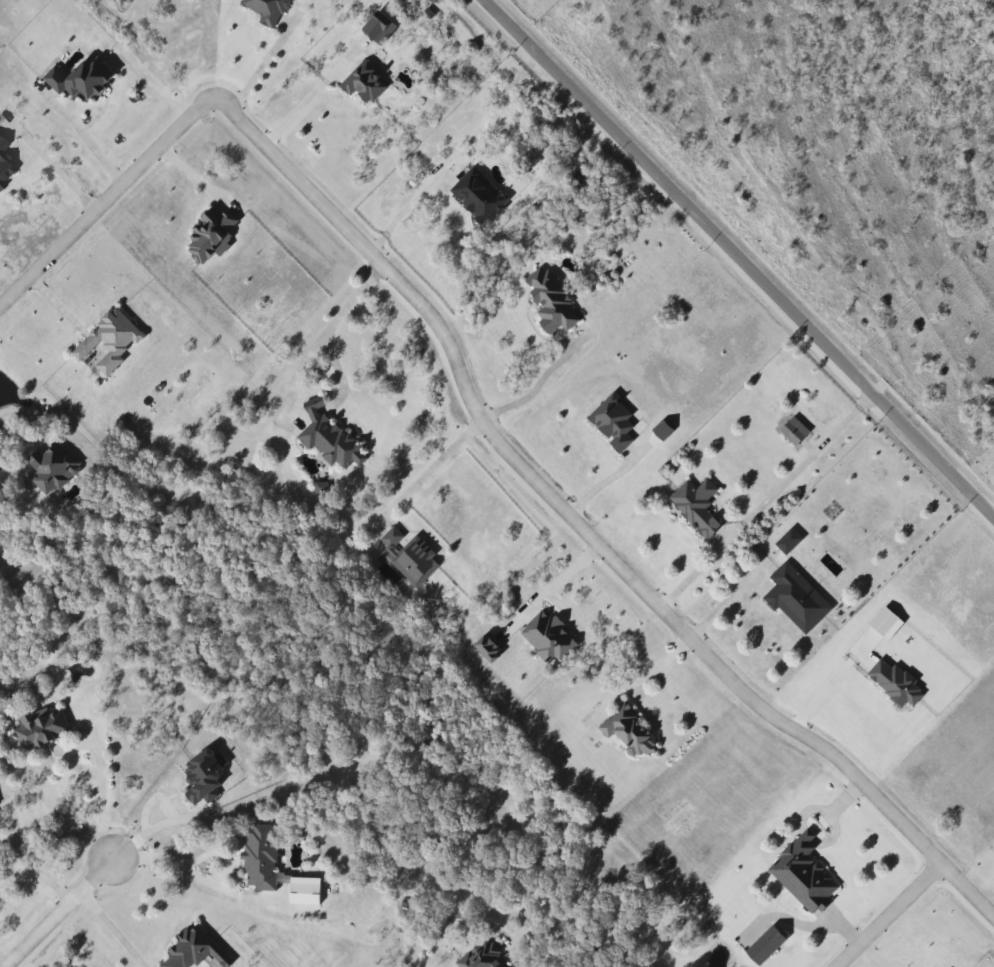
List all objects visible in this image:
road: (262, 70)
building: (82, 77)
building: (366, 83)
road: (307, 106)
road: (89, 143)
road: (62, 178)
building: (479, 195)
road: (105, 205)
road: (407, 209)
road: (741, 256)
road: (332, 322)
building: (106, 343)
road: (532, 390)
building: (792, 430)
building: (330, 439)
road: (3, 465)
building: (52, 467)
road: (431, 468)
road: (604, 482)
road: (767, 502)
building: (694, 506)
road: (579, 525)
building: (391, 539)
building: (787, 542)
building: (414, 562)
road: (548, 589)
building: (794, 599)
road: (728, 601)
road: (656, 671)
road: (829, 684)
building: (41, 727)
building: (629, 732)
road: (99, 772)
building: (204, 775)
road: (171, 820)
building: (259, 856)
road: (32, 872)
building: (802, 873)
road: (199, 882)
building: (305, 891)
road: (61, 915)
road: (893, 915)
road: (116, 930)
building: (763, 946)
building: (189, 949)
building: (481, 956)

